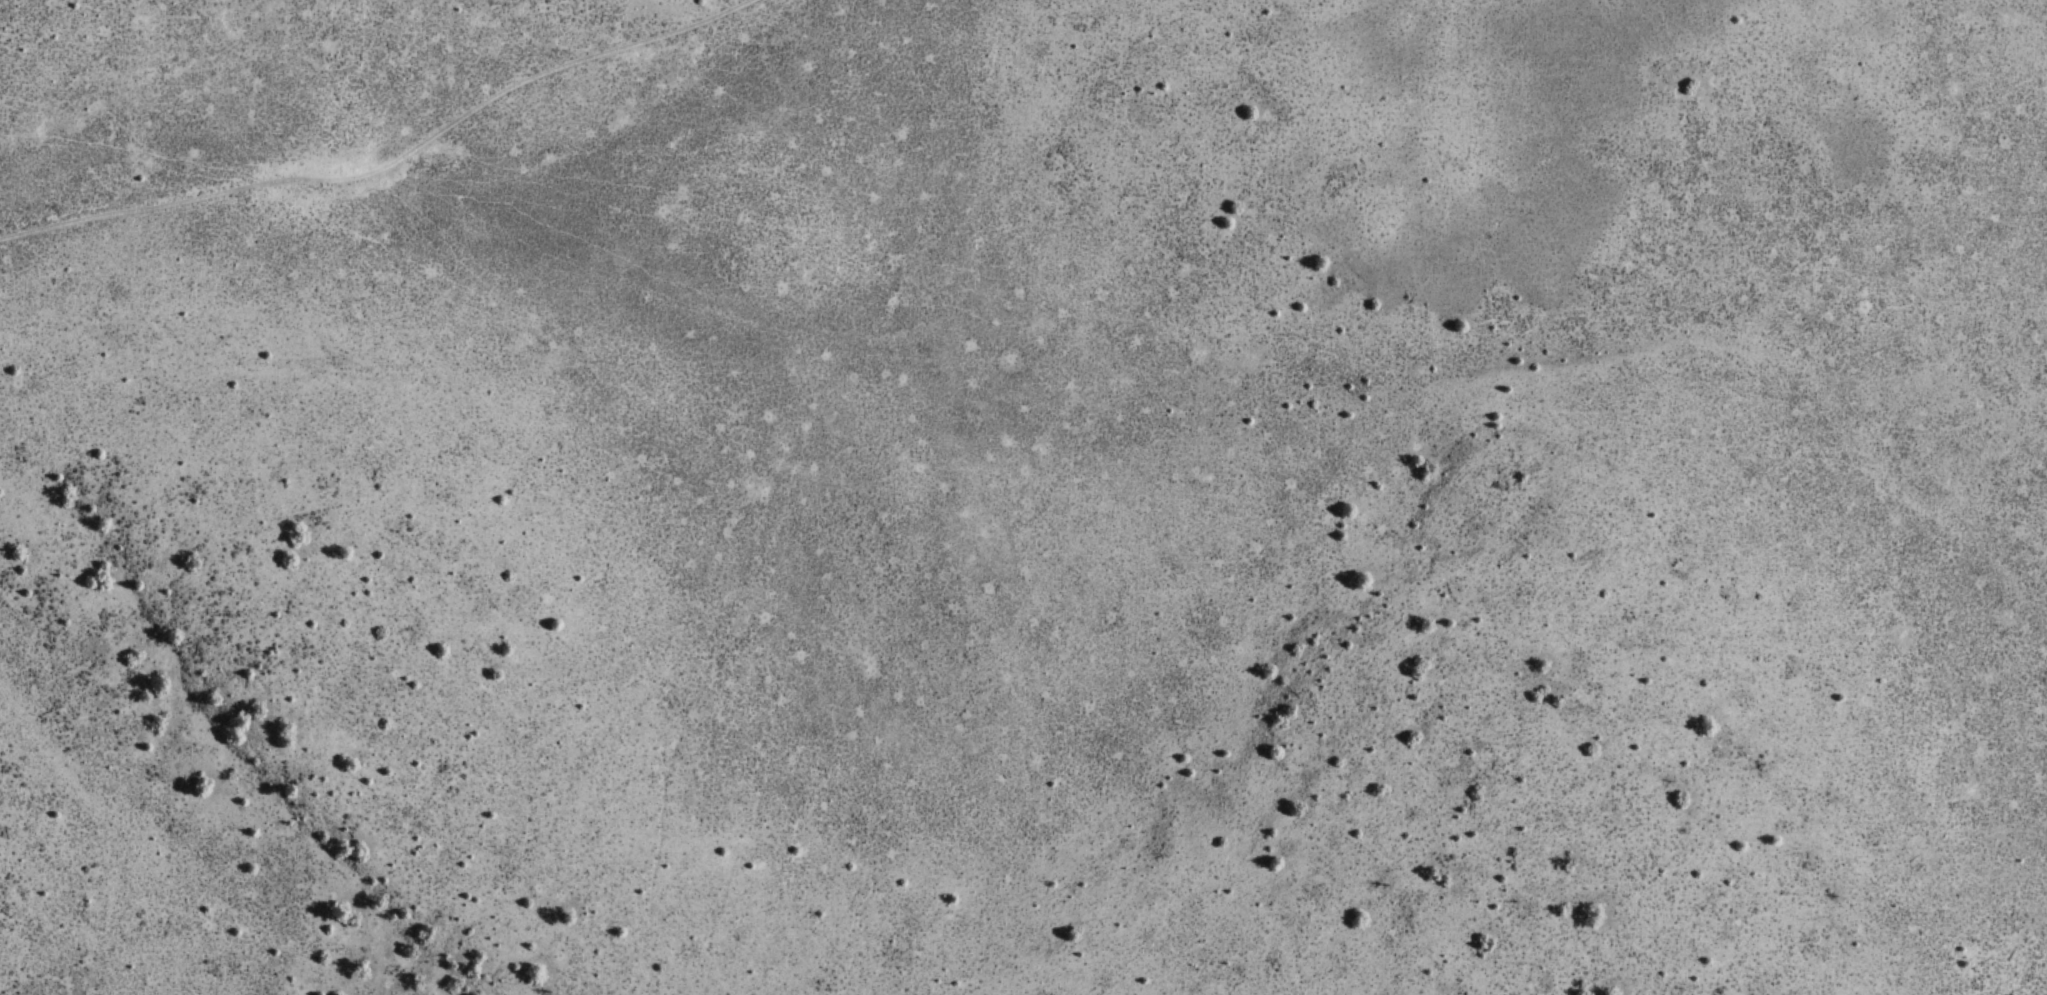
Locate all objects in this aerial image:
road: (441, 149)

